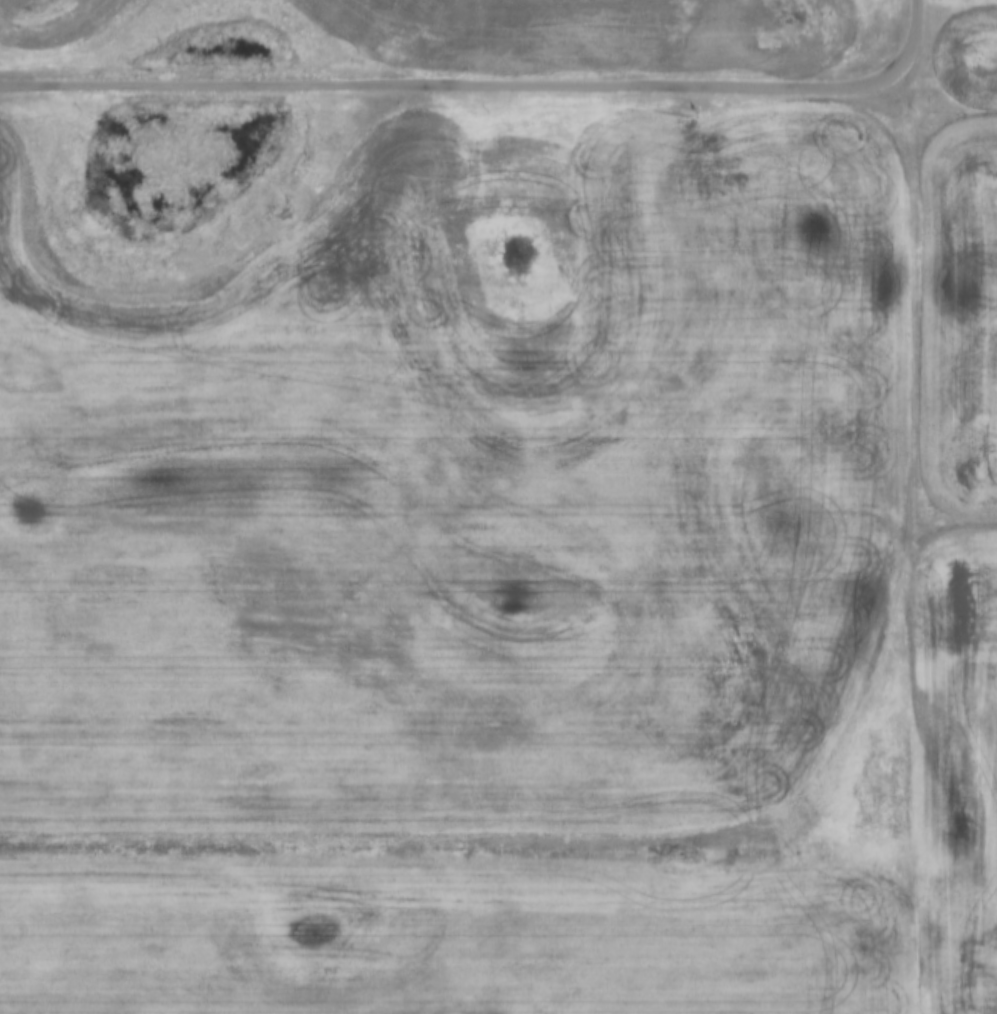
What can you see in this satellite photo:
road: (486, 82)

